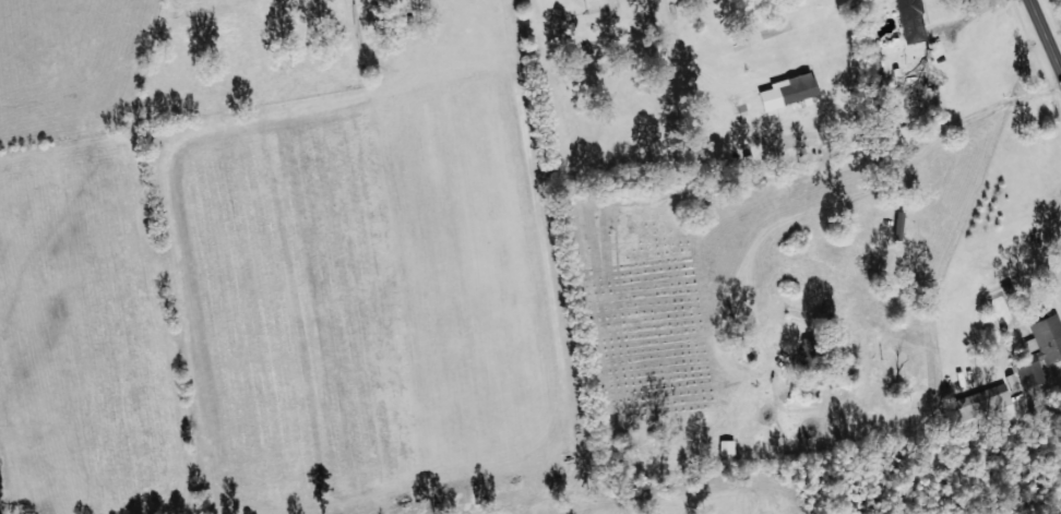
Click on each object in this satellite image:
building: (910, 17)
road: (1042, 39)
building: (788, 91)
building: (897, 225)
building: (1046, 337)
building: (1028, 369)
building: (986, 405)
building: (725, 446)

